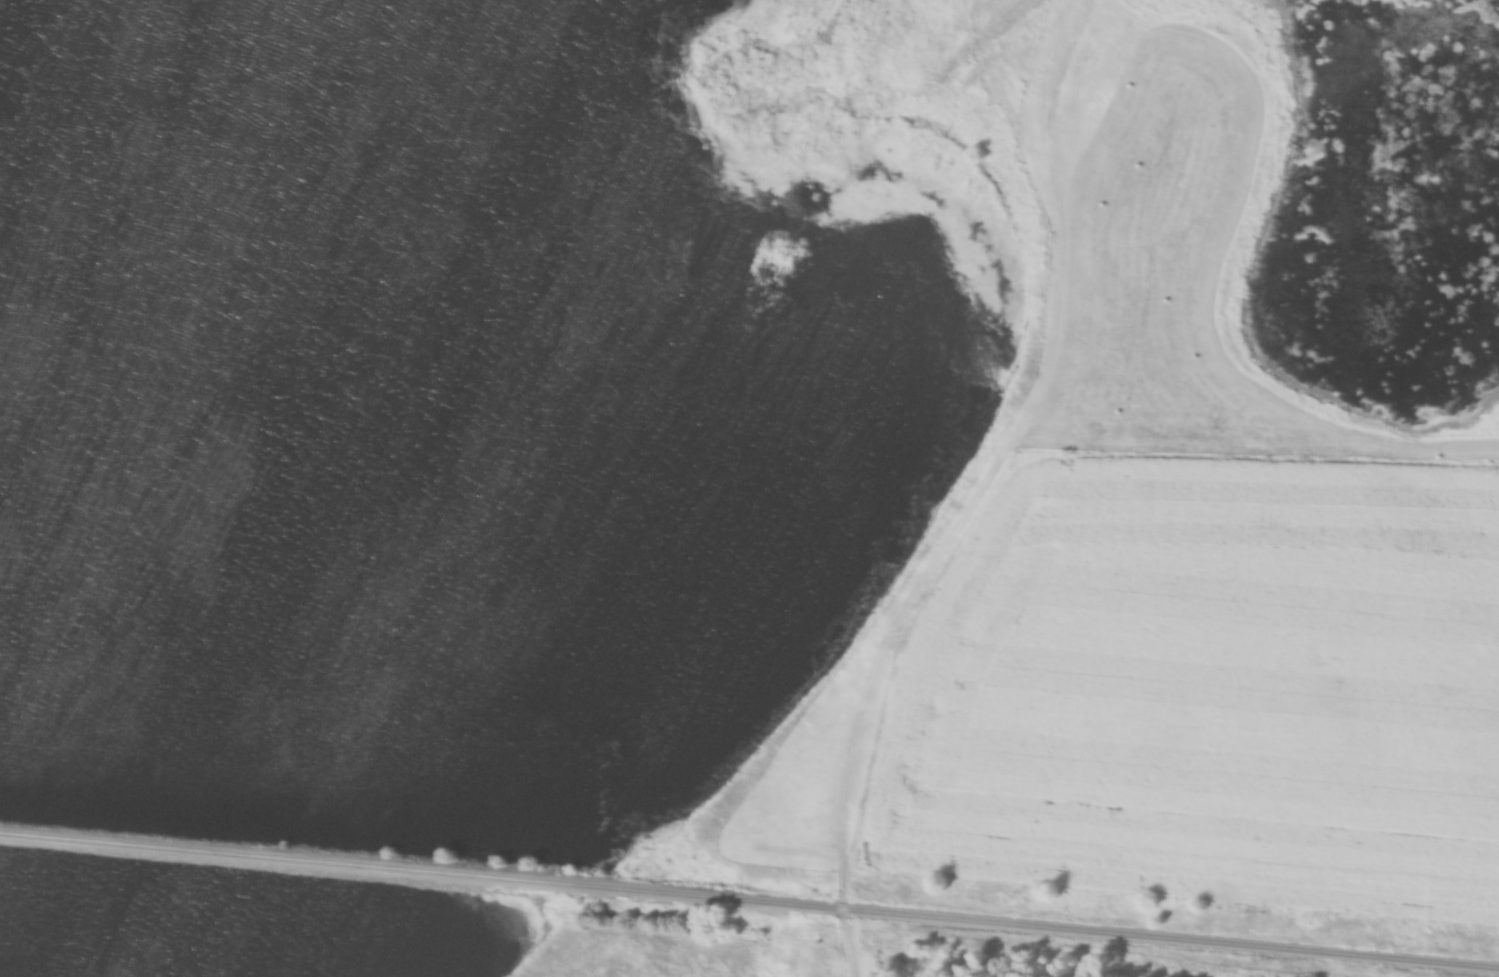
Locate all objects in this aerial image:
building: (1154, 220)
building: (1155, 324)
railway: (749, 900)

